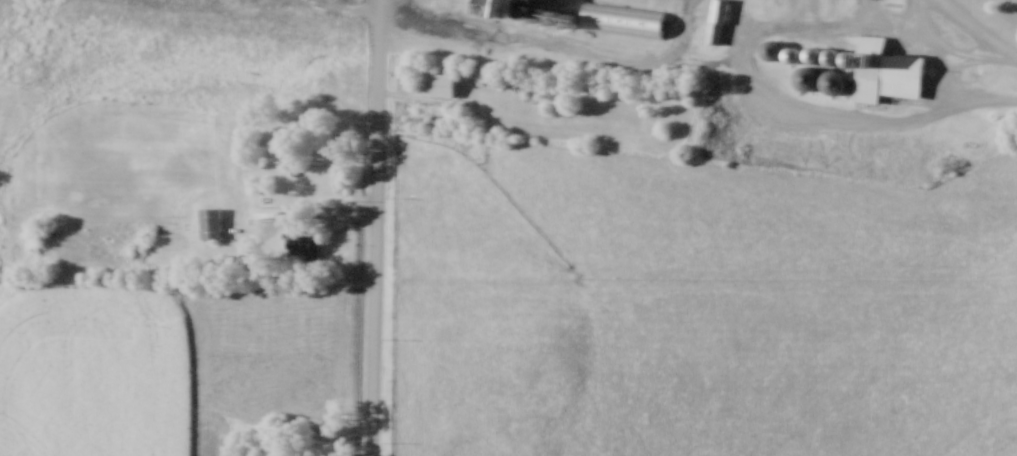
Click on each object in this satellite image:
road: (352, 6)
road: (377, 6)
building: (498, 7)
building: (622, 18)
building: (716, 19)
road: (977, 29)
road: (935, 47)
building: (770, 48)
building: (792, 54)
building: (806, 69)
building: (885, 70)
building: (437, 83)
building: (210, 222)
road: (375, 234)
building: (303, 244)
building: (251, 455)

